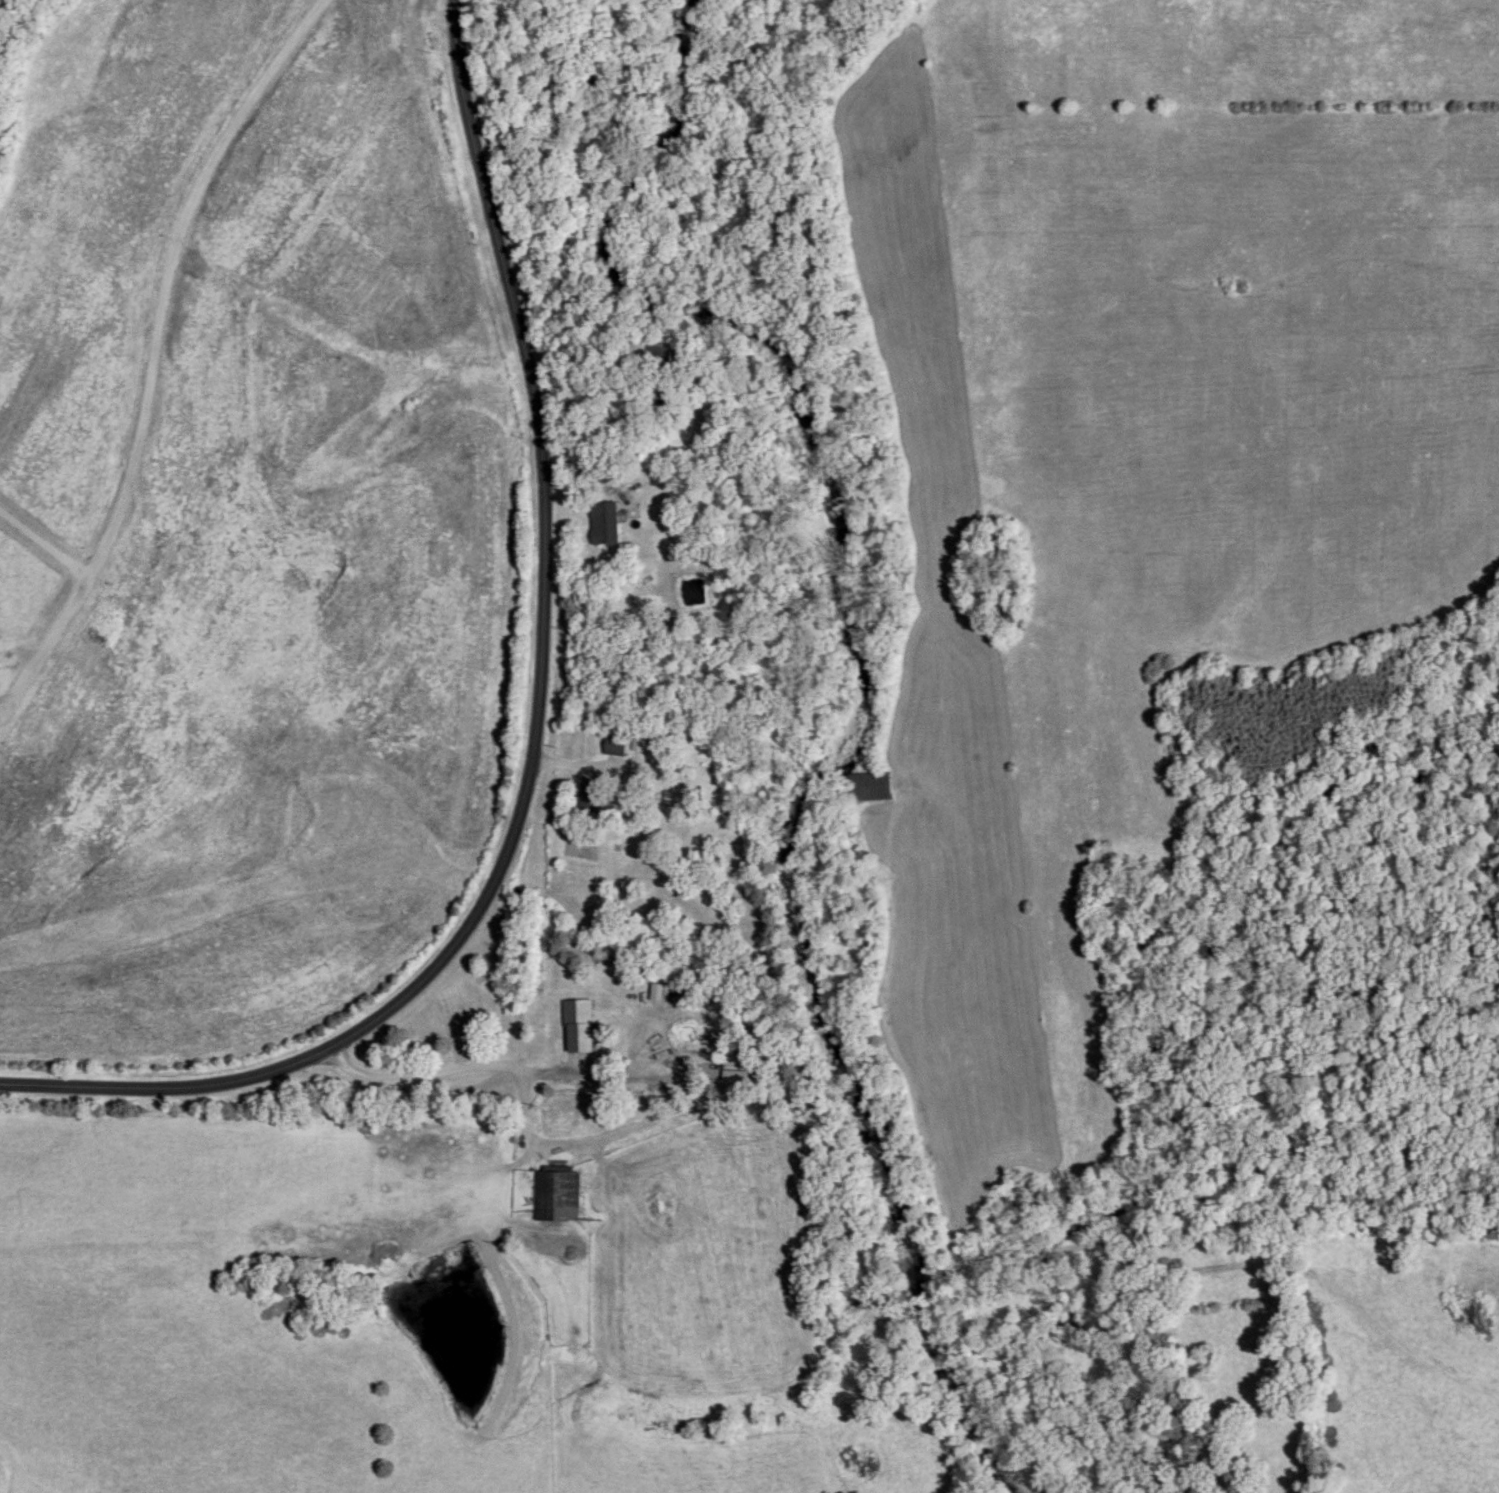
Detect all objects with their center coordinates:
road: (153, 350)
road: (615, 490)
building: (604, 524)
road: (541, 730)
building: (616, 746)
road: (595, 766)
building: (871, 787)
road: (462, 1073)
building: (558, 1193)

